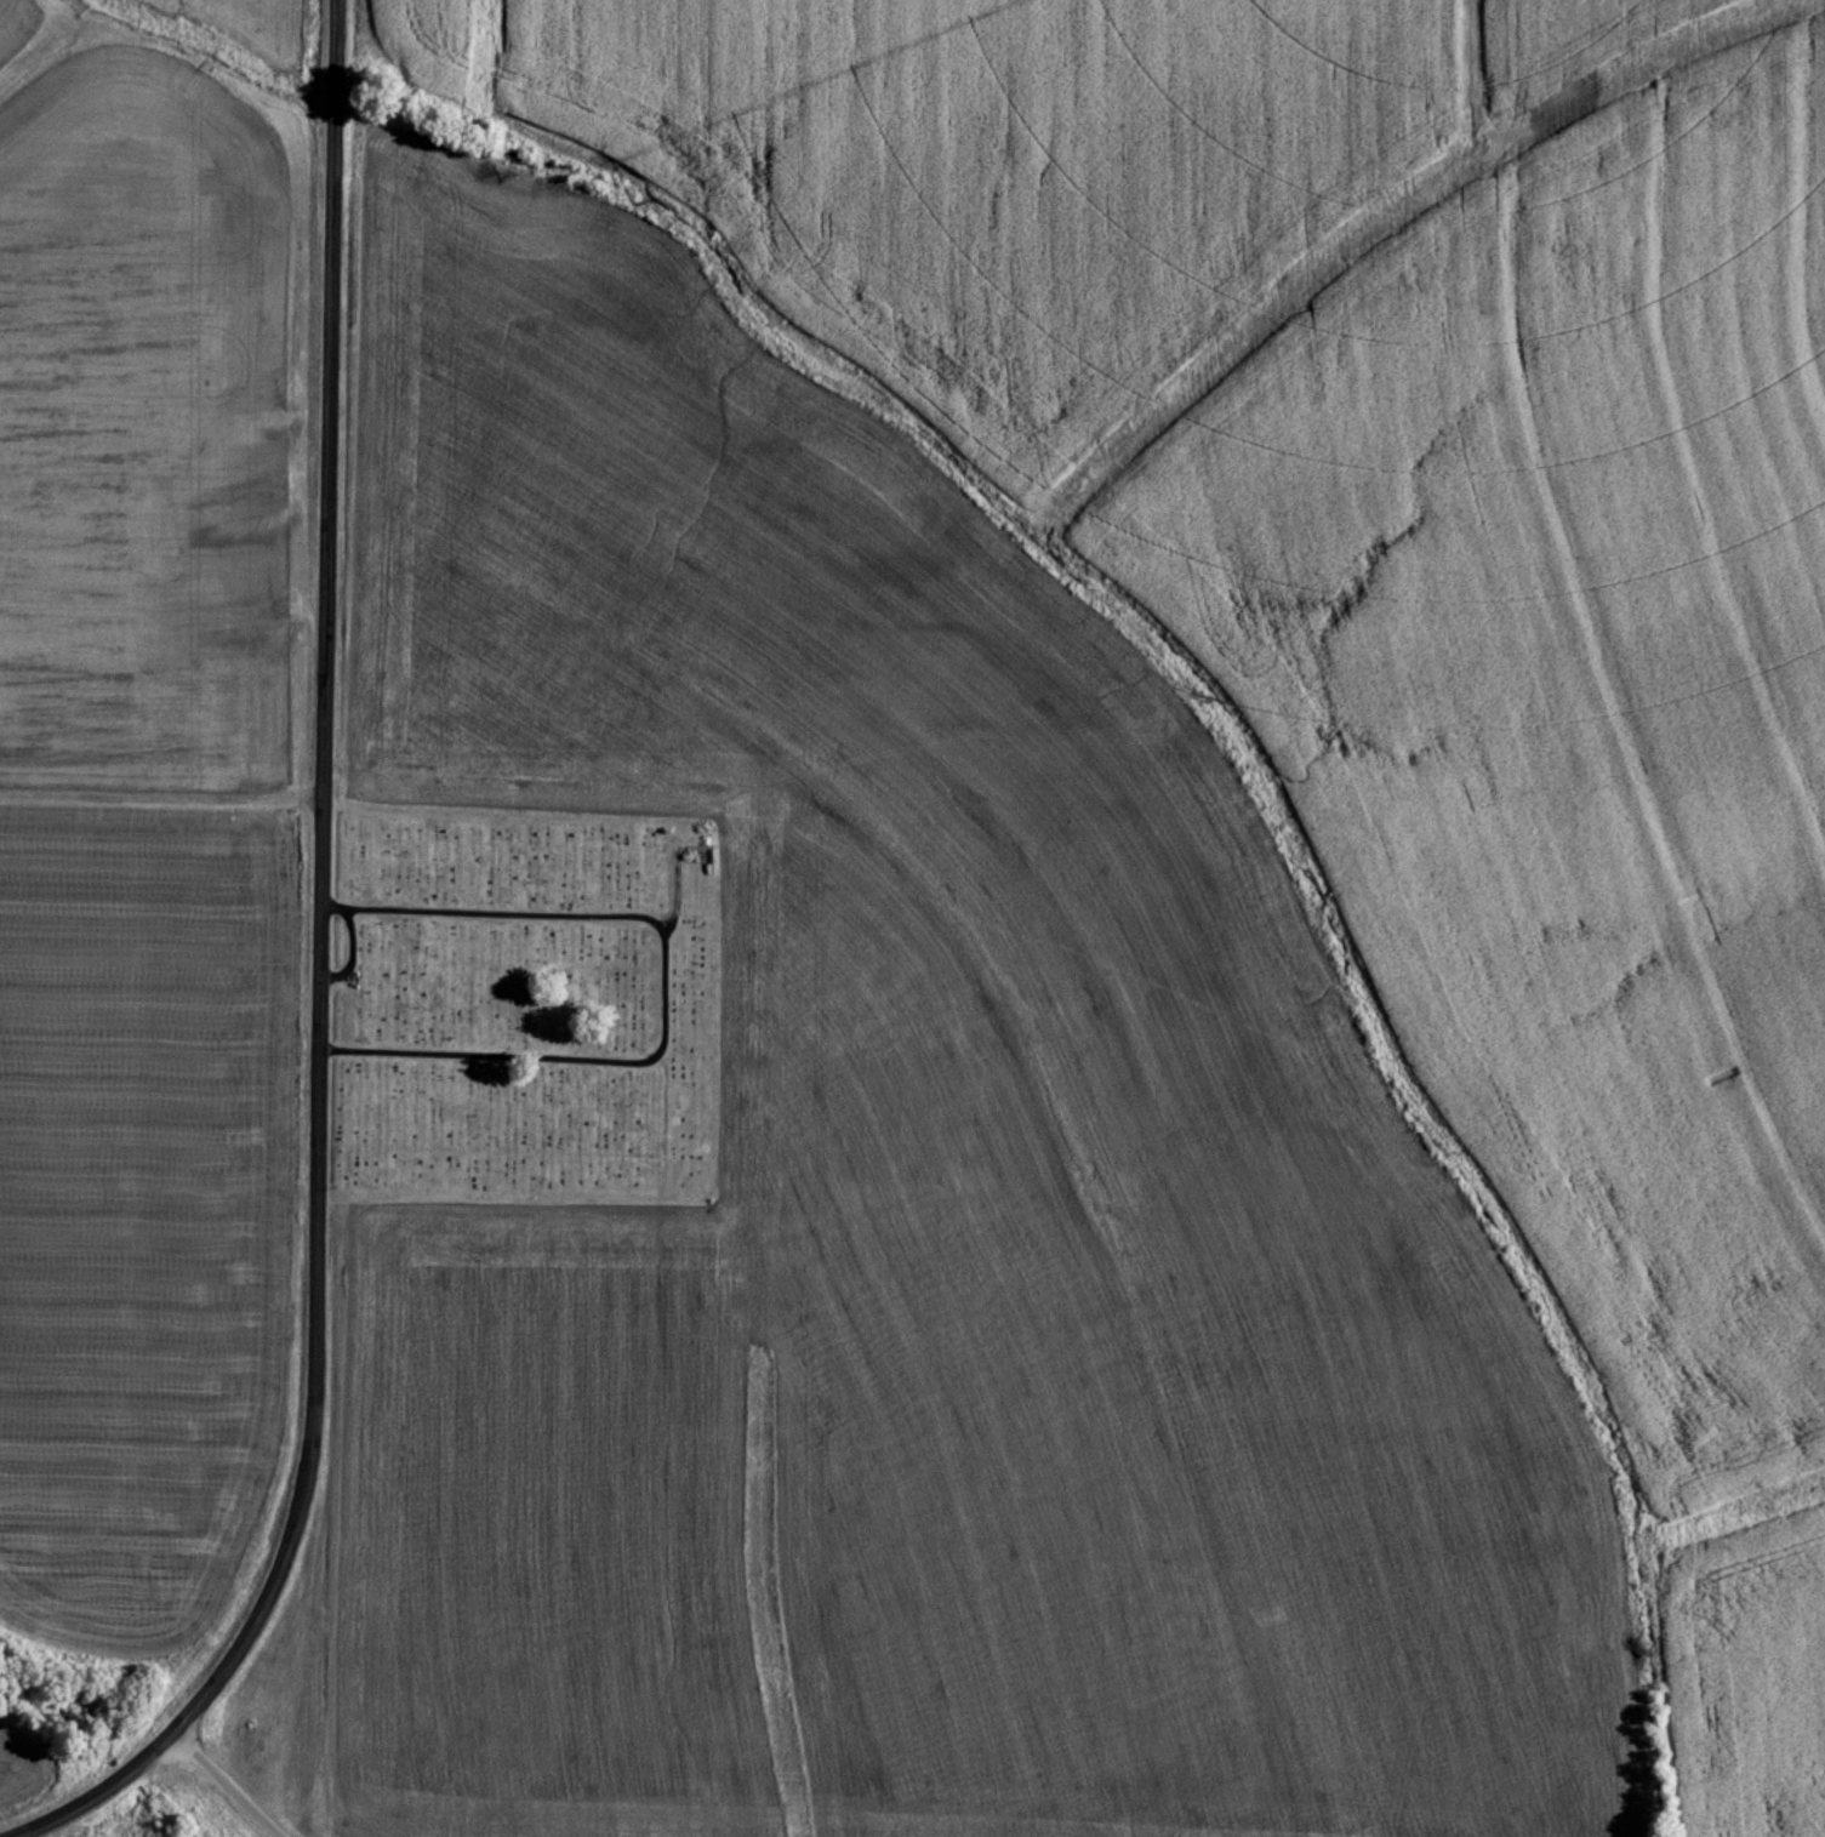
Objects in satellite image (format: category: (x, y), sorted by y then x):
road: (319, 982)
park: (524, 1003)
road: (233, 1786)

